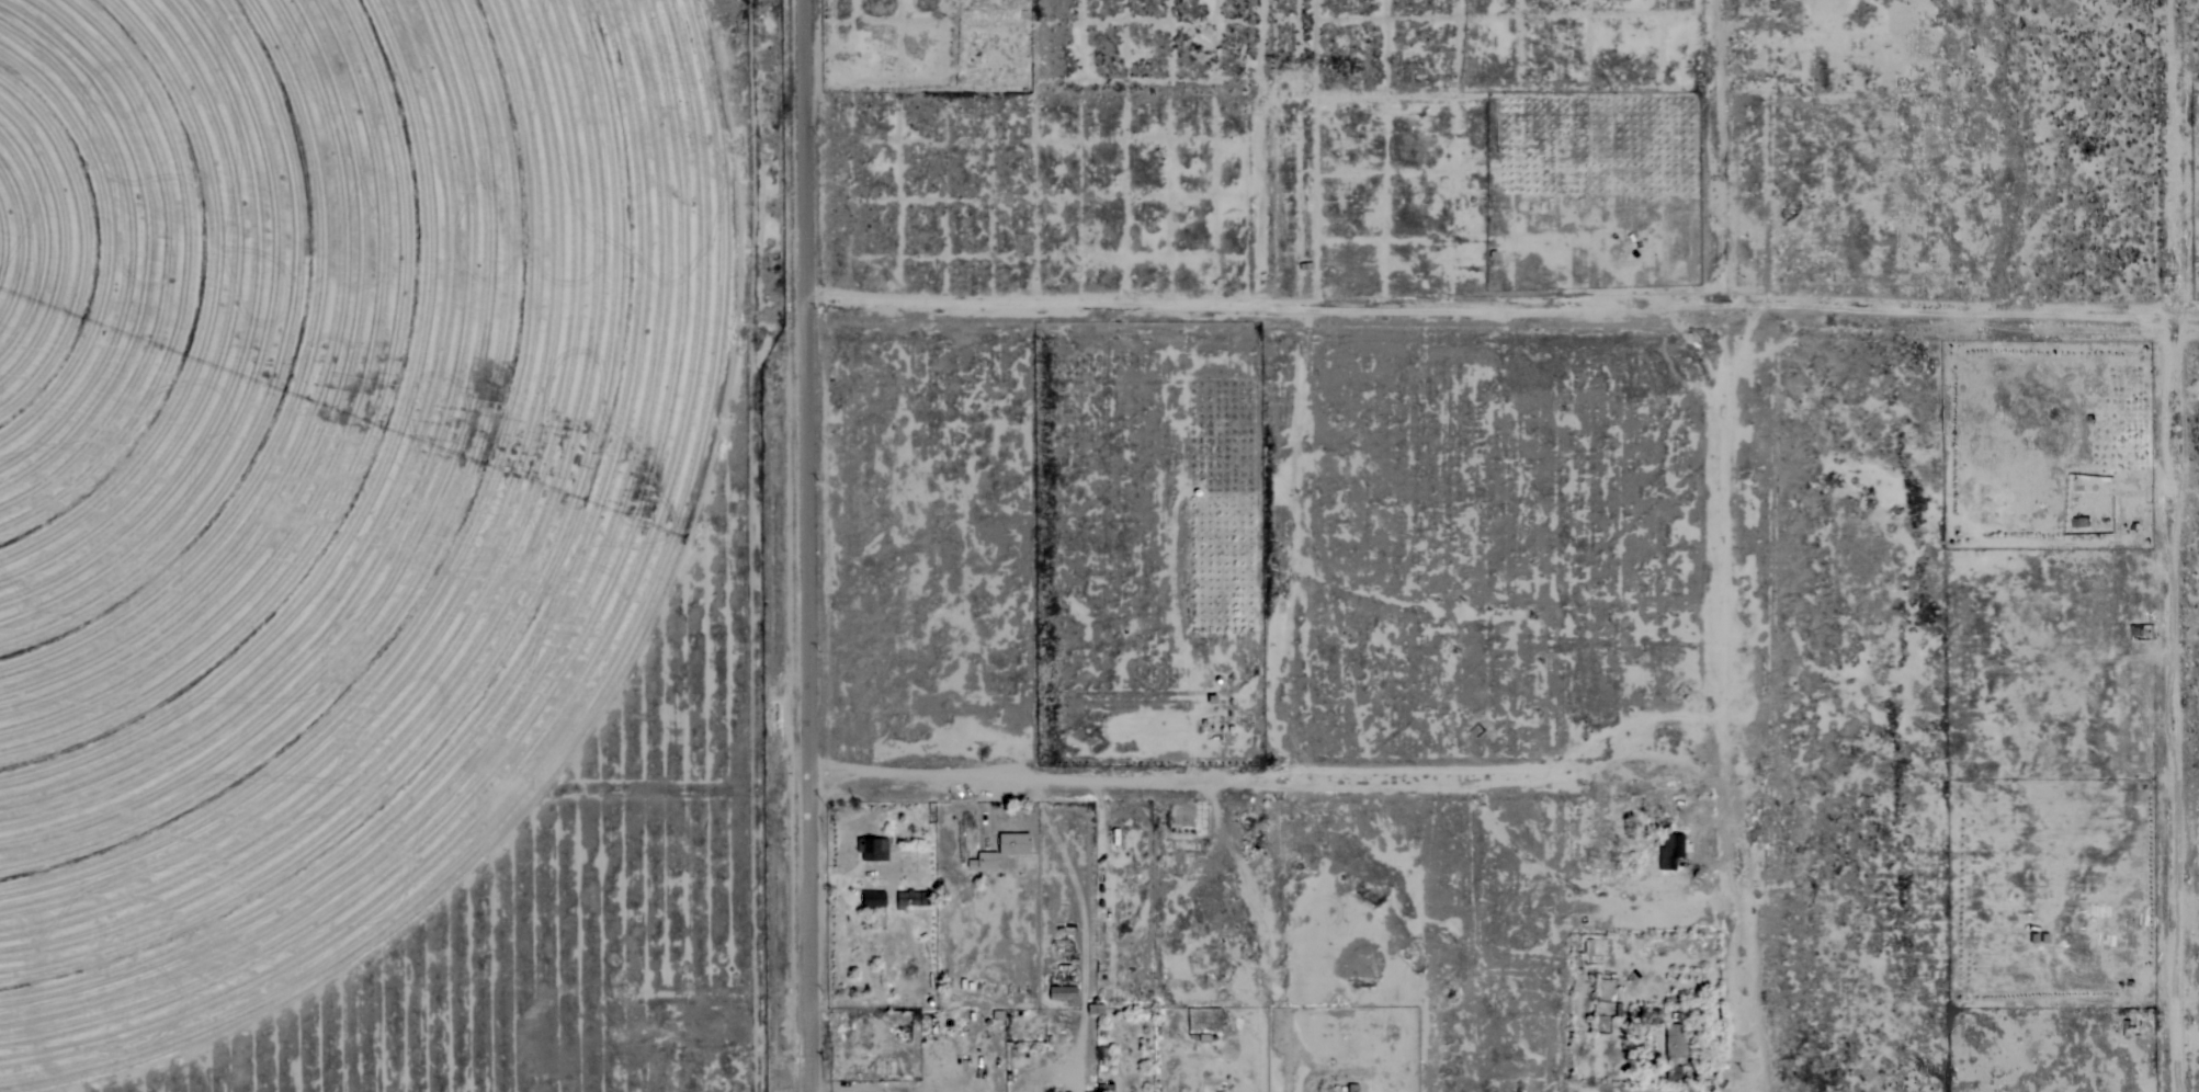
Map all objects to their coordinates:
building: (1016, 4)
building: (959, 38)
crop: (329, 468)
road: (785, 546)
road: (1414, 776)
building: (1012, 843)
building: (872, 848)
building: (1669, 850)
building: (986, 860)
building: (873, 898)
building: (913, 898)
building: (1595, 990)
building: (1062, 992)
building: (1095, 1008)
building: (1674, 1040)
building: (1671, 1072)
building: (1106, 1085)
road: (1747, 1088)

